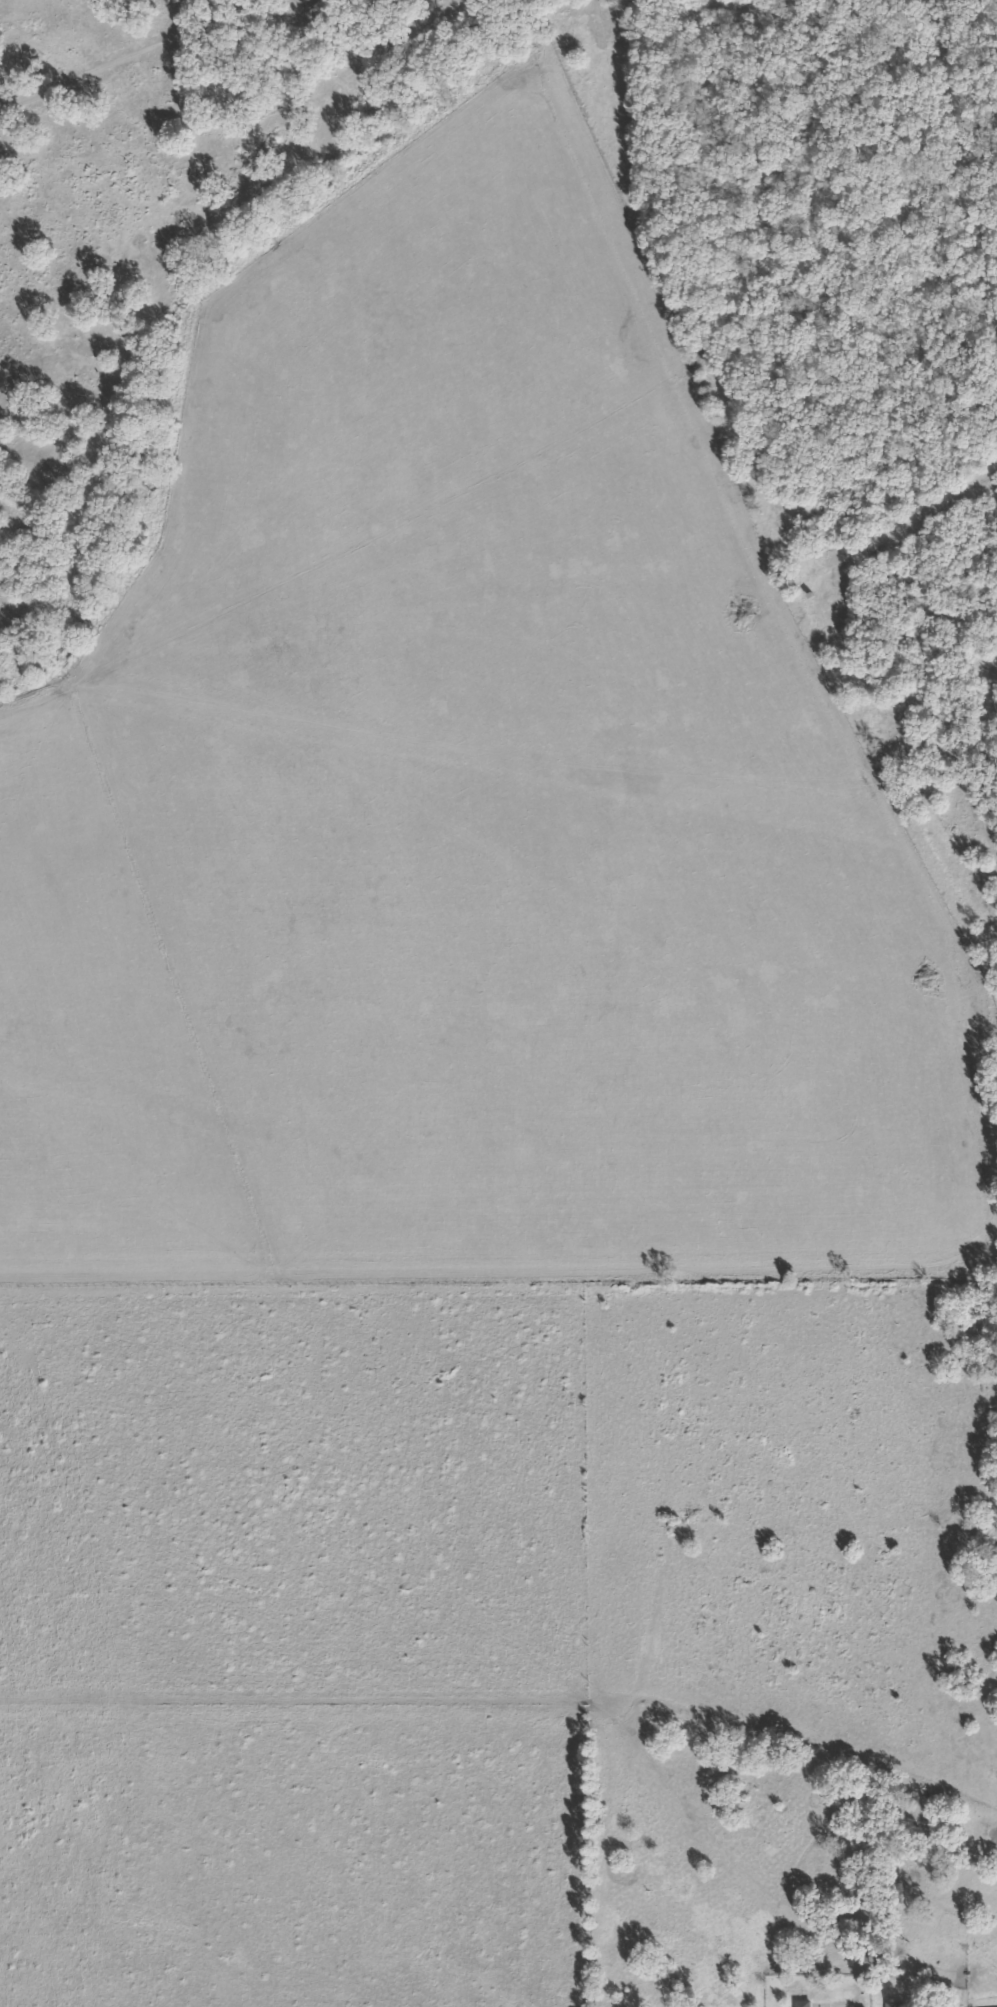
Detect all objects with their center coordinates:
building: (805, 2004)
building: (894, 2005)

